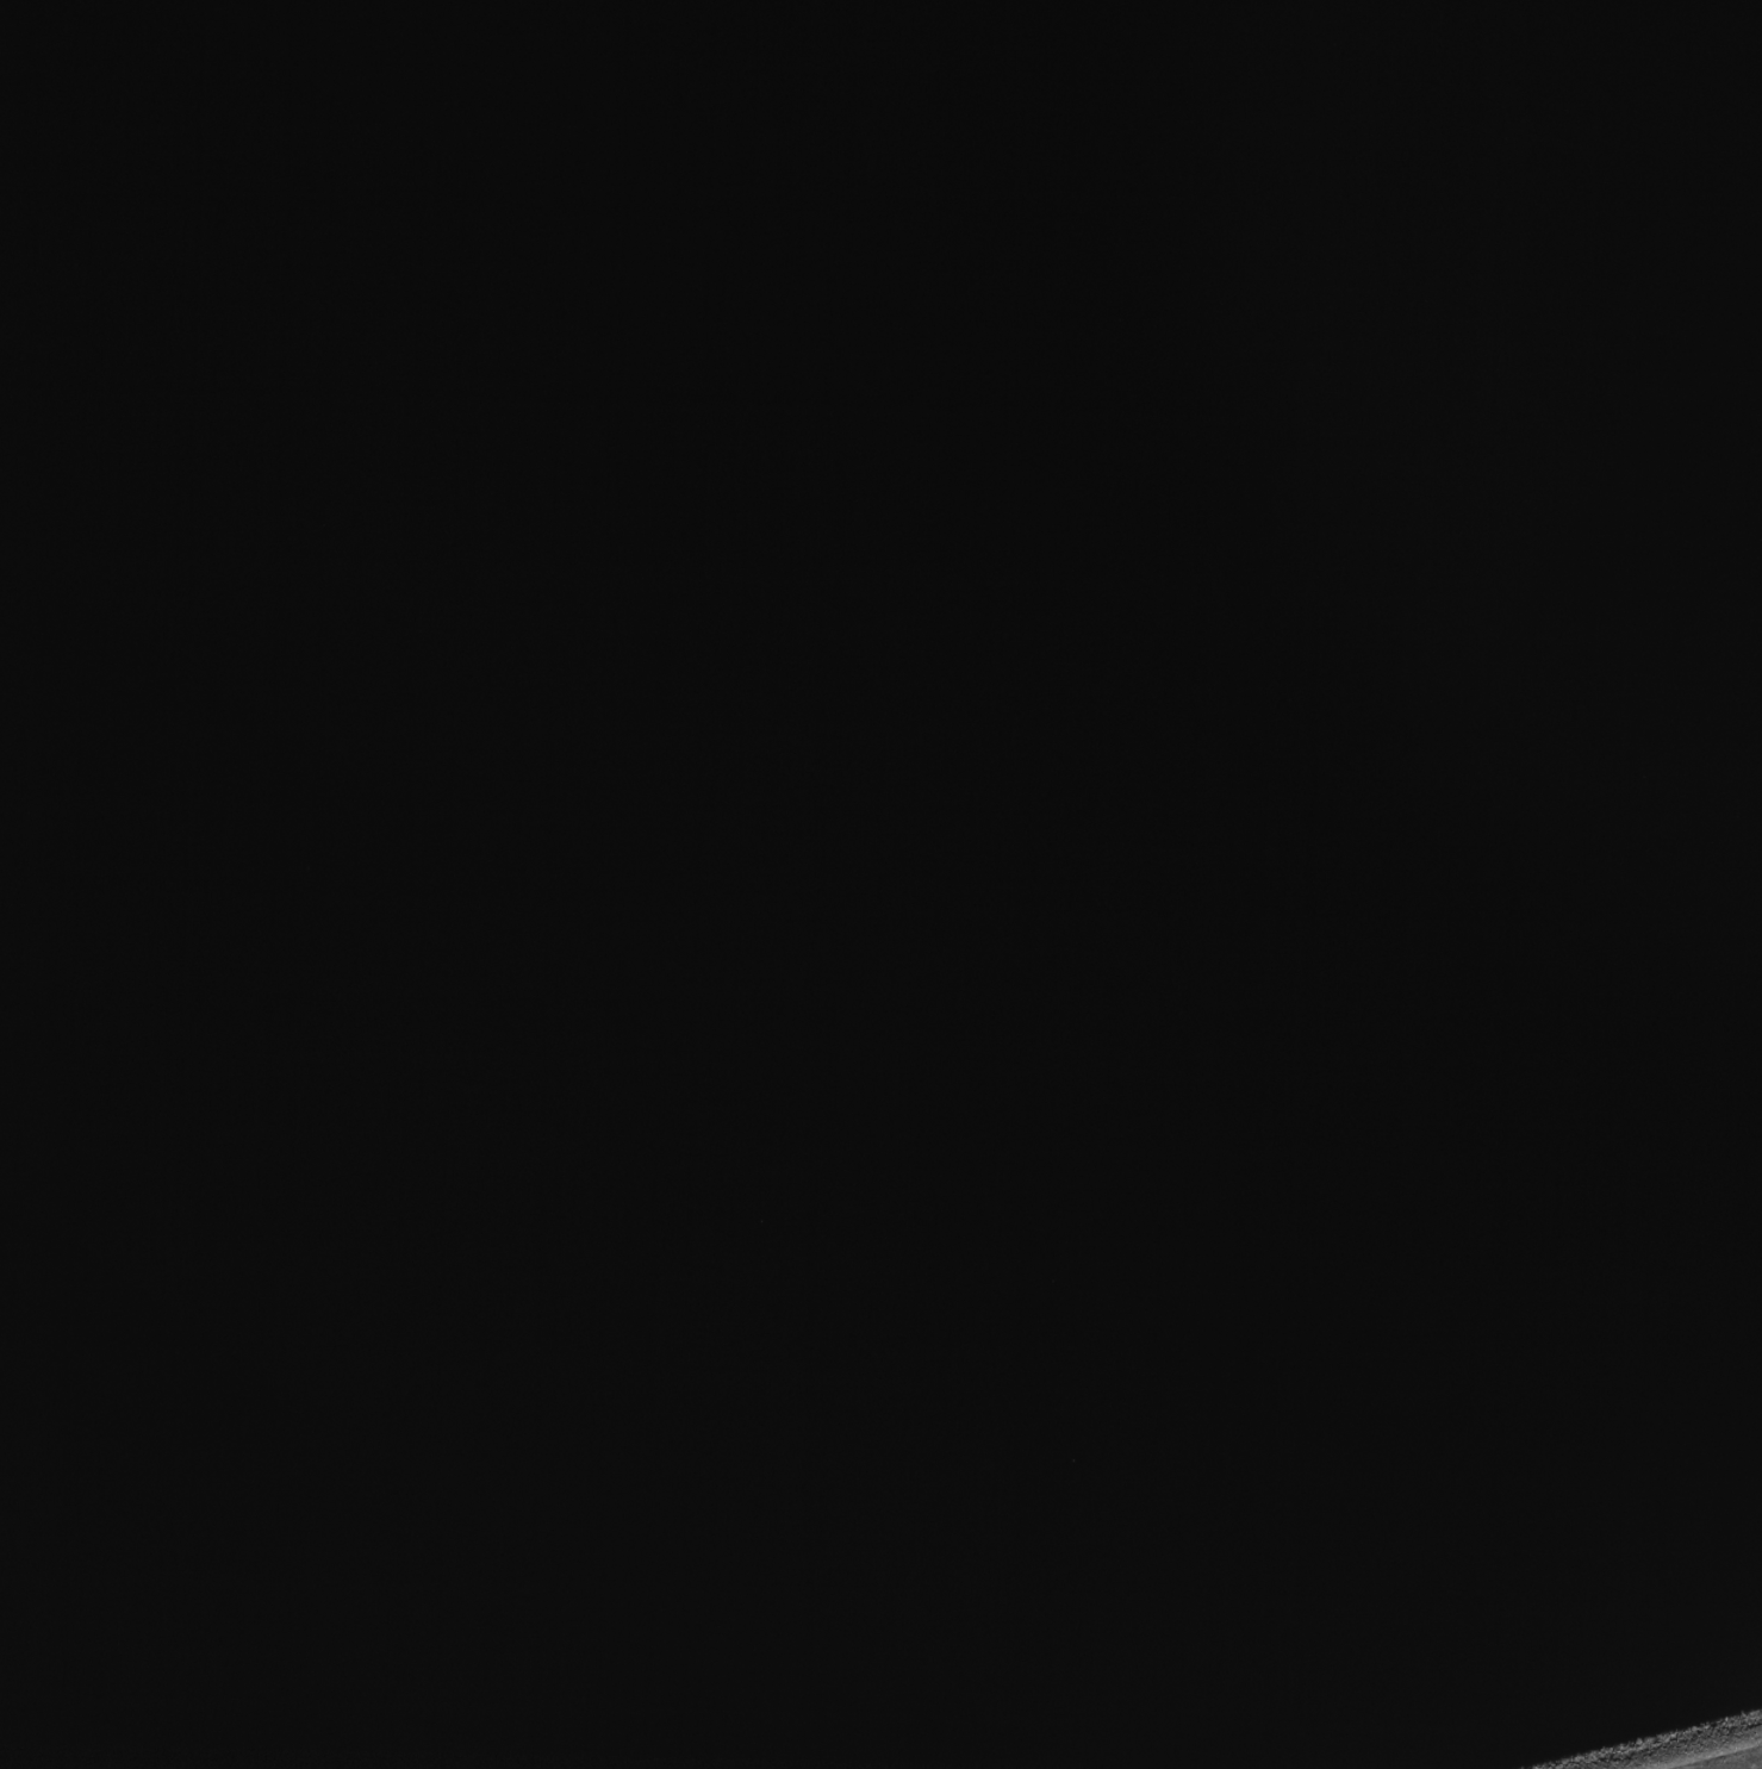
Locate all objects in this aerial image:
dam: (1683, 1749)

